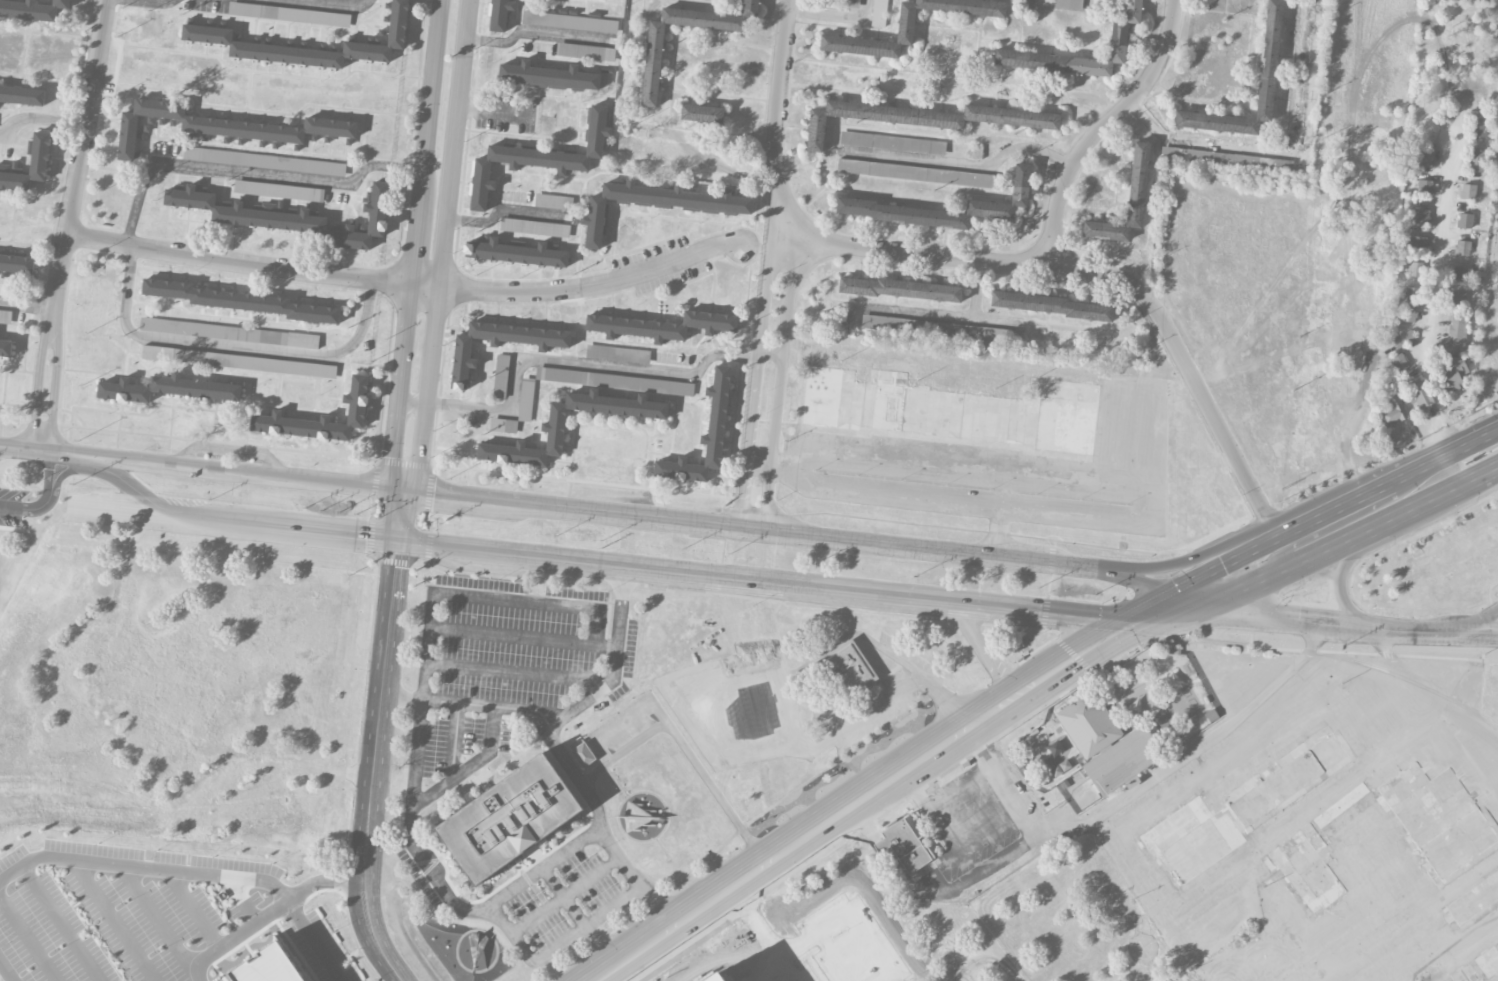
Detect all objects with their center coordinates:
road: (149, 3)
road: (327, 3)
building: (854, 3)
building: (1069, 4)
building: (32, 9)
building: (879, 12)
building: (289, 14)
road: (831, 14)
building: (498, 15)
building: (569, 21)
building: (909, 26)
road: (535, 31)
building: (207, 32)
building: (1118, 36)
building: (585, 51)
building: (1269, 55)
building: (652, 68)
building: (547, 74)
road: (954, 76)
building: (22, 94)
road: (427, 97)
road: (494, 111)
building: (702, 113)
building: (923, 117)
road: (41, 118)
building: (1479, 124)
building: (223, 126)
road: (1100, 127)
building: (892, 142)
road: (1276, 151)
building: (1196, 156)
building: (540, 157)
building: (1427, 158)
building: (1475, 160)
building: (264, 161)
road: (968, 163)
building: (1262, 164)
building: (28, 165)
road: (248, 172)
building: (915, 172)
building: (1021, 179)
building: (1137, 181)
building: (1424, 186)
building: (279, 190)
building: (1467, 191)
building: (553, 201)
building: (656, 203)
road: (501, 209)
building: (245, 212)
building: (1421, 215)
building: (378, 217)
building: (1465, 220)
building: (535, 227)
road: (414, 238)
road: (66, 239)
building: (1418, 241)
building: (1462, 247)
building: (514, 251)
building: (17, 263)
road: (782, 264)
building: (1415, 268)
road: (442, 271)
building: (1460, 273)
road: (1103, 275)
road: (406, 279)
building: (900, 288)
building: (1415, 295)
building: (1457, 298)
road: (1432, 299)
building: (241, 301)
building: (1052, 305)
road: (28, 306)
park: (1489, 312)
building: (1409, 313)
building: (5, 315)
building: (661, 325)
building: (1457, 330)
building: (229, 332)
road: (1368, 333)
building: (1403, 338)
road: (234, 344)
building: (6, 347)
building: (618, 353)
building: (462, 355)
building: (239, 361)
building: (1399, 361)
road: (570, 362)
building: (1454, 371)
building: (501, 375)
building: (614, 380)
road: (399, 383)
building: (167, 388)
building: (1418, 390)
building: (526, 399)
building: (357, 405)
building: (951, 409)
building: (1394, 410)
building: (503, 425)
building: (553, 426)
building: (704, 436)
road: (1473, 441)
road: (39, 453)
traffic signals: (392, 457)
road: (1485, 475)
road: (58, 482)
traffic signals: (434, 493)
road: (901, 494)
road: (31, 505)
road: (393, 513)
road: (650, 516)
road: (1283, 531)
traffic signals: (368, 536)
road: (1319, 553)
road: (1184, 562)
road: (613, 563)
traffic signals: (1214, 566)
traffic signals: (395, 567)
road: (1341, 586)
railway: (807, 597)
road: (1262, 605)
road: (562, 606)
traffic signals: (1277, 608)
traffic signals: (1059, 611)
road: (1490, 616)
road: (1234, 622)
road: (1400, 628)
road: (981, 643)
road: (605, 647)
traffic signals: (1101, 654)
road: (615, 664)
building: (851, 667)
road: (517, 670)
road: (1397, 679)
railway: (1418, 683)
building: (1211, 715)
building: (1089, 724)
road: (715, 730)
road: (681, 743)
building: (581, 751)
road: (562, 755)
building: (1059, 758)
building: (1123, 760)
road: (889, 762)
road: (376, 765)
road: (467, 767)
road: (920, 777)
road: (1145, 785)
road: (960, 790)
building: (1245, 803)
road: (1015, 805)
road: (1302, 805)
road: (927, 808)
road: (976, 813)
road: (861, 814)
building: (509, 817)
building: (1439, 817)
building: (642, 821)
road: (992, 837)
building: (881, 844)
road: (882, 844)
building: (906, 844)
building: (1315, 853)
road: (214, 875)
road: (330, 881)
road: (440, 884)
road: (956, 885)
building: (1474, 898)
road: (577, 917)
park: (1049, 926)
road: (814, 931)
road: (317, 938)
road: (769, 940)
road: (872, 940)
road: (559, 945)
road: (631, 953)
road: (834, 955)
building: (1488, 960)
road: (764, 964)
building: (269, 967)
road: (7, 970)
building: (1465, 974)
road: (887, 976)
building: (716, 977)
road: (751, 977)
road: (886, 979)

